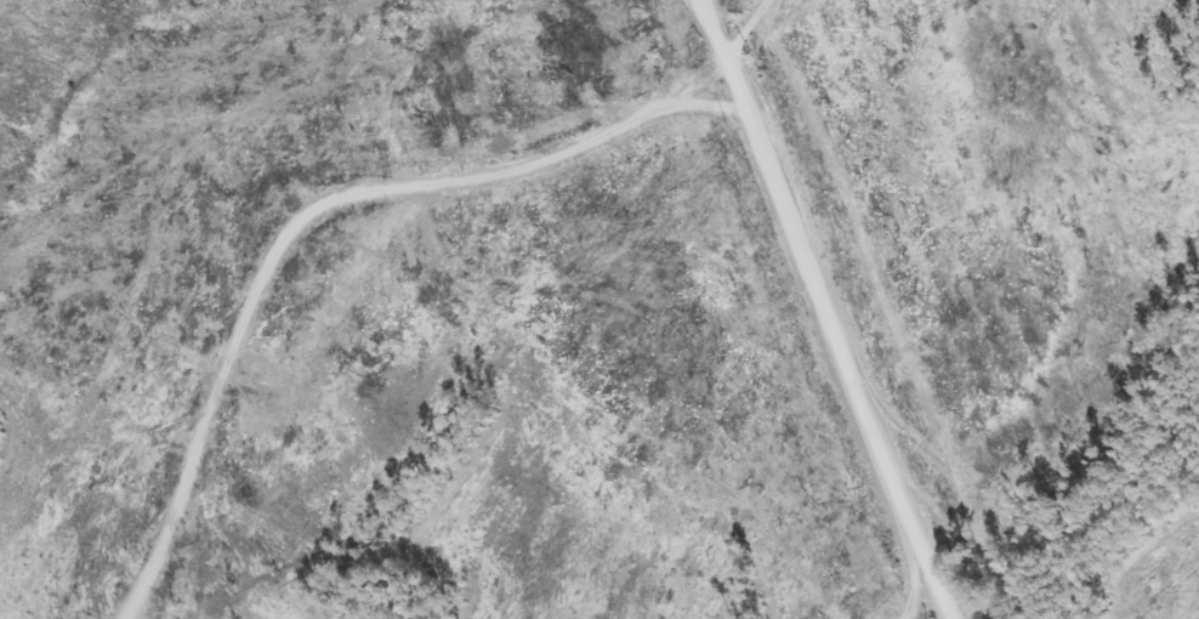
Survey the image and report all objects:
road: (357, 216)
road: (817, 313)
road: (866, 558)

